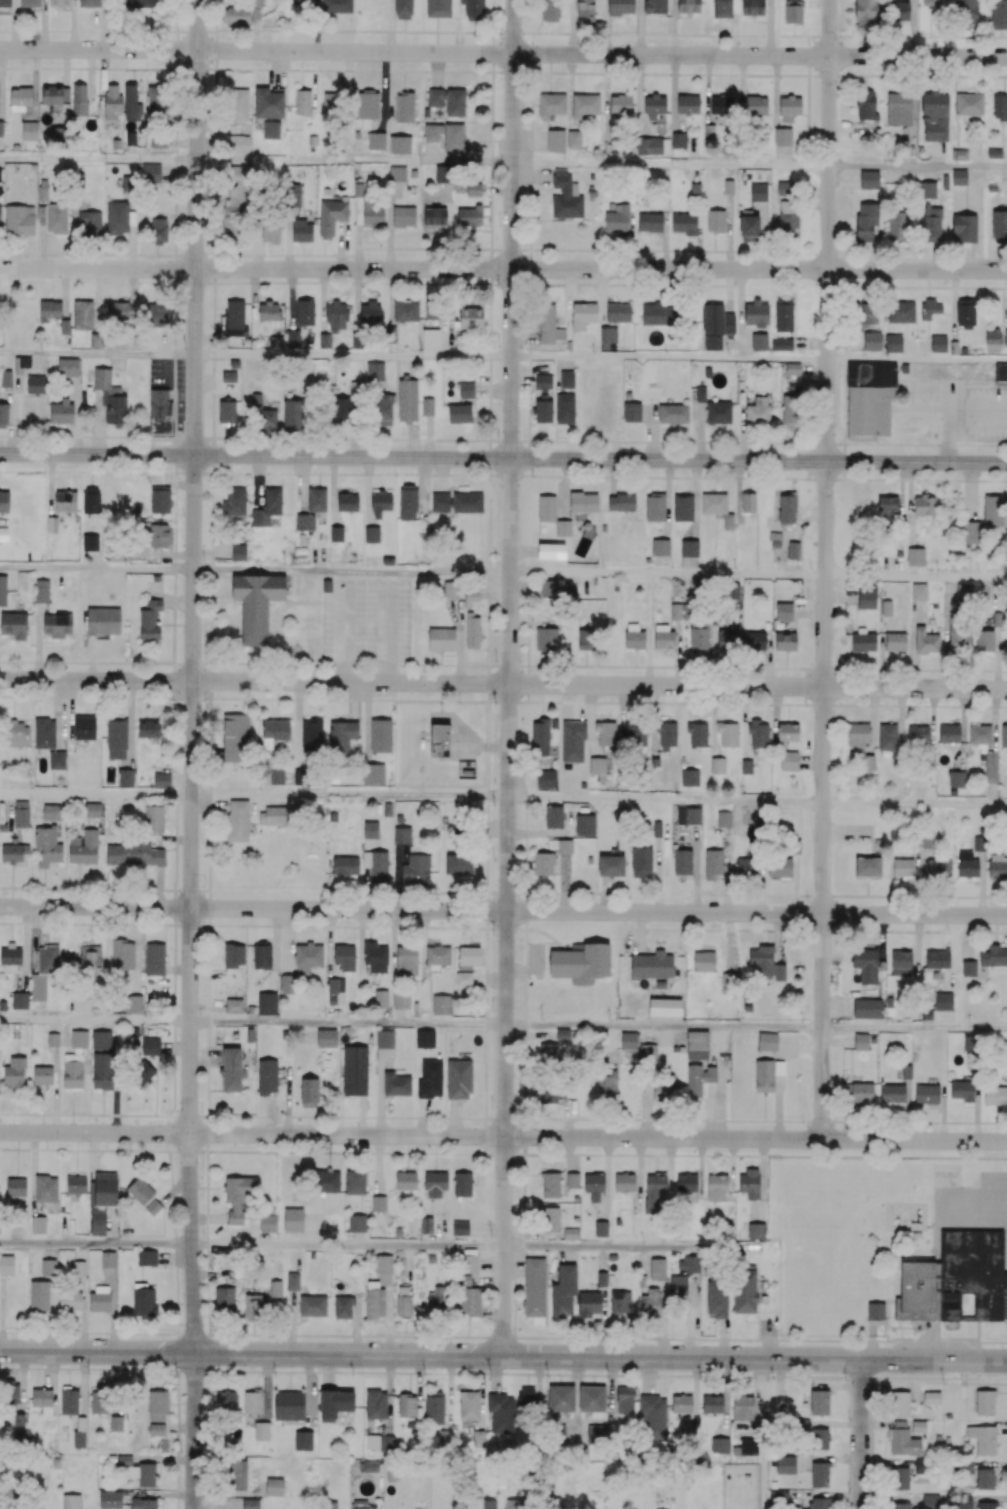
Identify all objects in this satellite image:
road: (503, 53)
street lamp: (209, 76)
road: (98, 157)
road: (671, 164)
road: (918, 167)
road: (195, 227)
road: (503, 269)
street lamp: (170, 281)
road: (97, 353)
road: (353, 355)
road: (669, 357)
road: (917, 359)
road: (167, 370)
street lamp: (993, 386)
street lamp: (926, 405)
road: (978, 411)
building: (161, 414)
road: (949, 437)
road: (503, 457)
street lamp: (295, 475)
street lamp: (178, 476)
street lamp: (532, 478)
street lamp: (806, 482)
street lamp: (1006, 482)
road: (96, 567)
road: (351, 569)
road: (825, 569)
road: (667, 572)
road: (916, 575)
road: (389, 634)
road: (342, 635)
street lamp: (203, 655)
street lamp: (312, 656)
road: (509, 678)
road: (503, 683)
road: (95, 794)
road: (349, 795)
road: (666, 800)
road: (915, 803)
road: (191, 904)
road: (503, 911)
road: (95, 1021)
road: (348, 1024)
road: (664, 1028)
road: (915, 1029)
road: (503, 1136)
road: (96, 1245)
road: (348, 1246)
road: (634, 1248)
road: (503, 1338)
road: (503, 1356)
road: (195, 1431)
road: (764, 1433)
road: (862, 1434)

